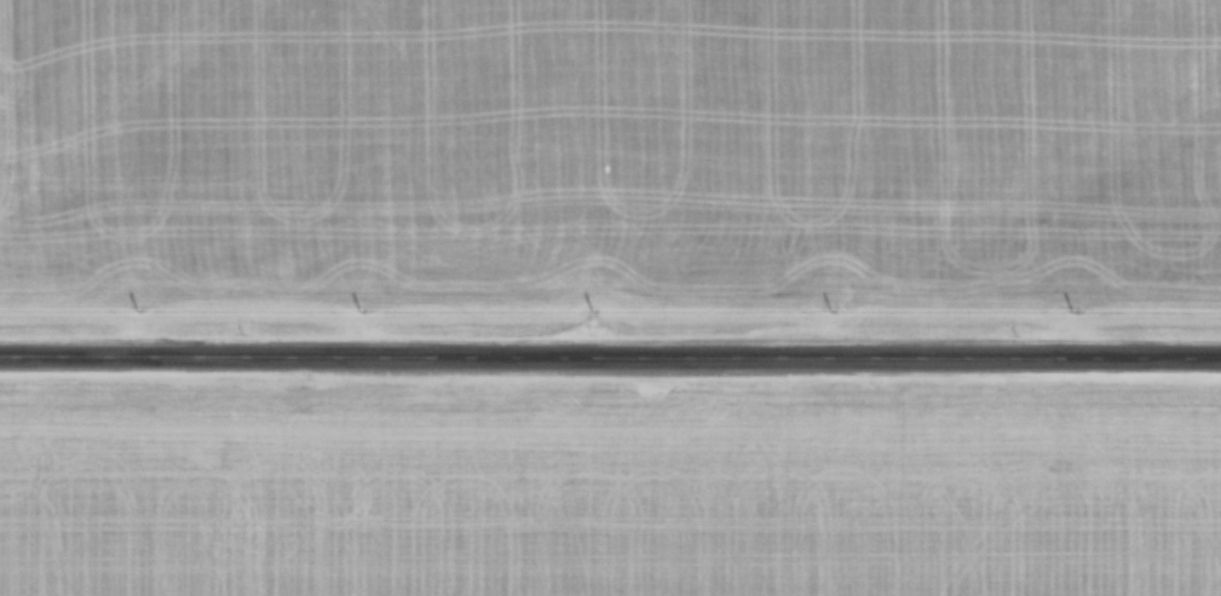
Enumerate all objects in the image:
road: (610, 348)

